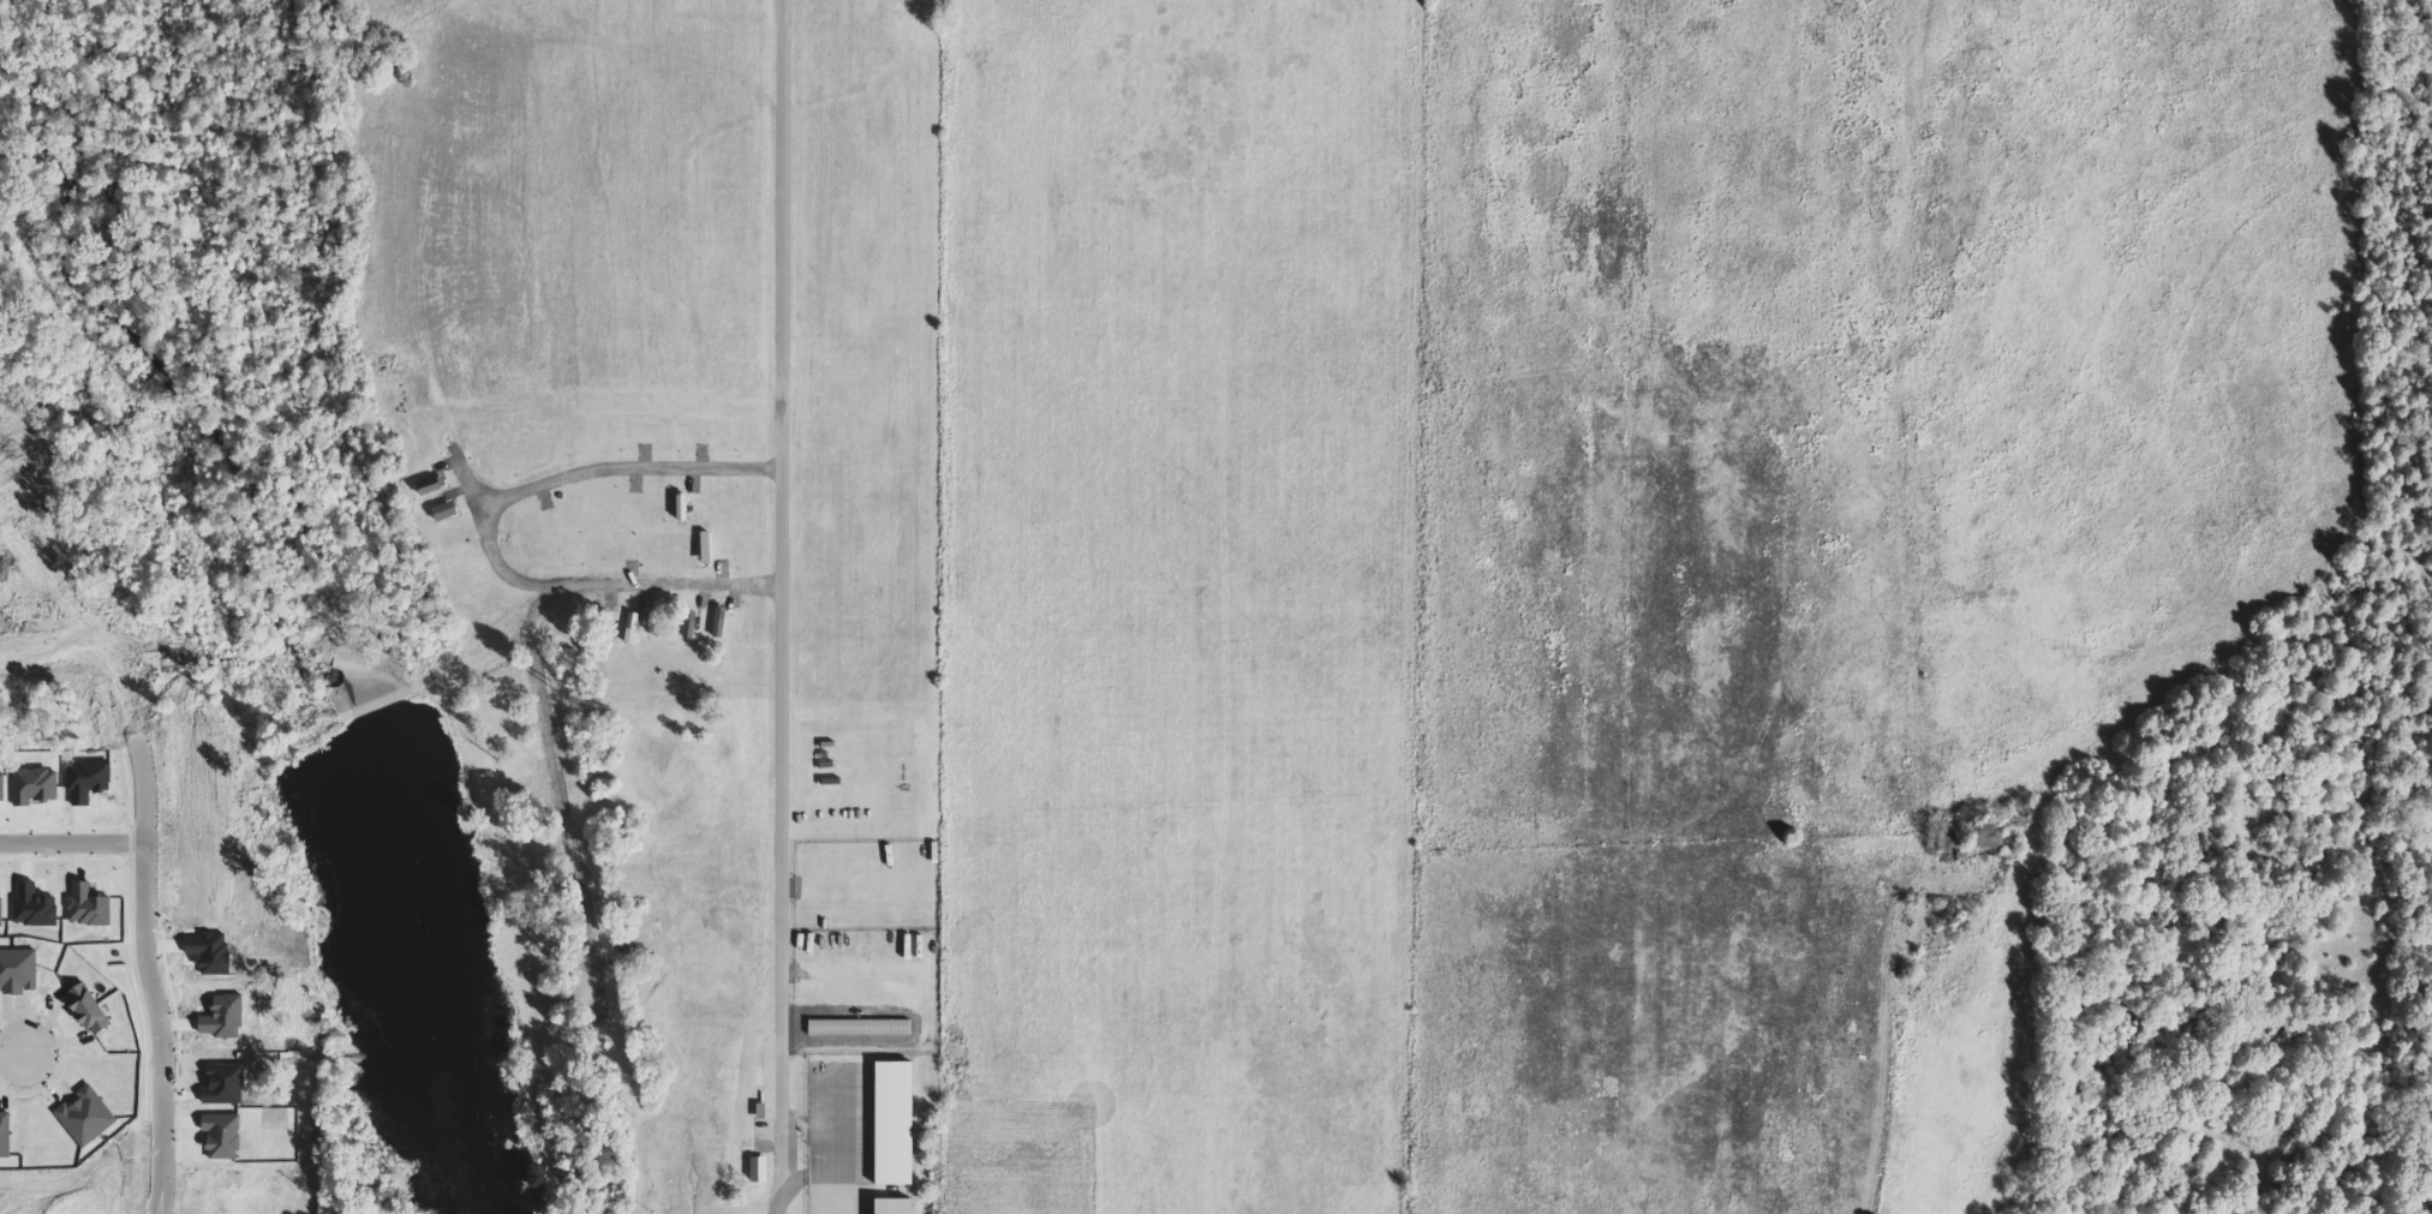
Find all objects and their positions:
building: (432, 485)
building: (447, 510)
road: (781, 606)
building: (721, 621)
building: (692, 624)
building: (89, 782)
building: (36, 785)
building: (4, 787)
road: (65, 844)
building: (35, 907)
building: (89, 907)
building: (1, 911)
building: (19, 970)
building: (90, 1010)
road: (155, 1025)
building: (861, 1028)
road: (20, 1053)
building: (86, 1117)
building: (896, 1124)
building: (6, 1135)
building: (760, 1170)
building: (896, 1207)

